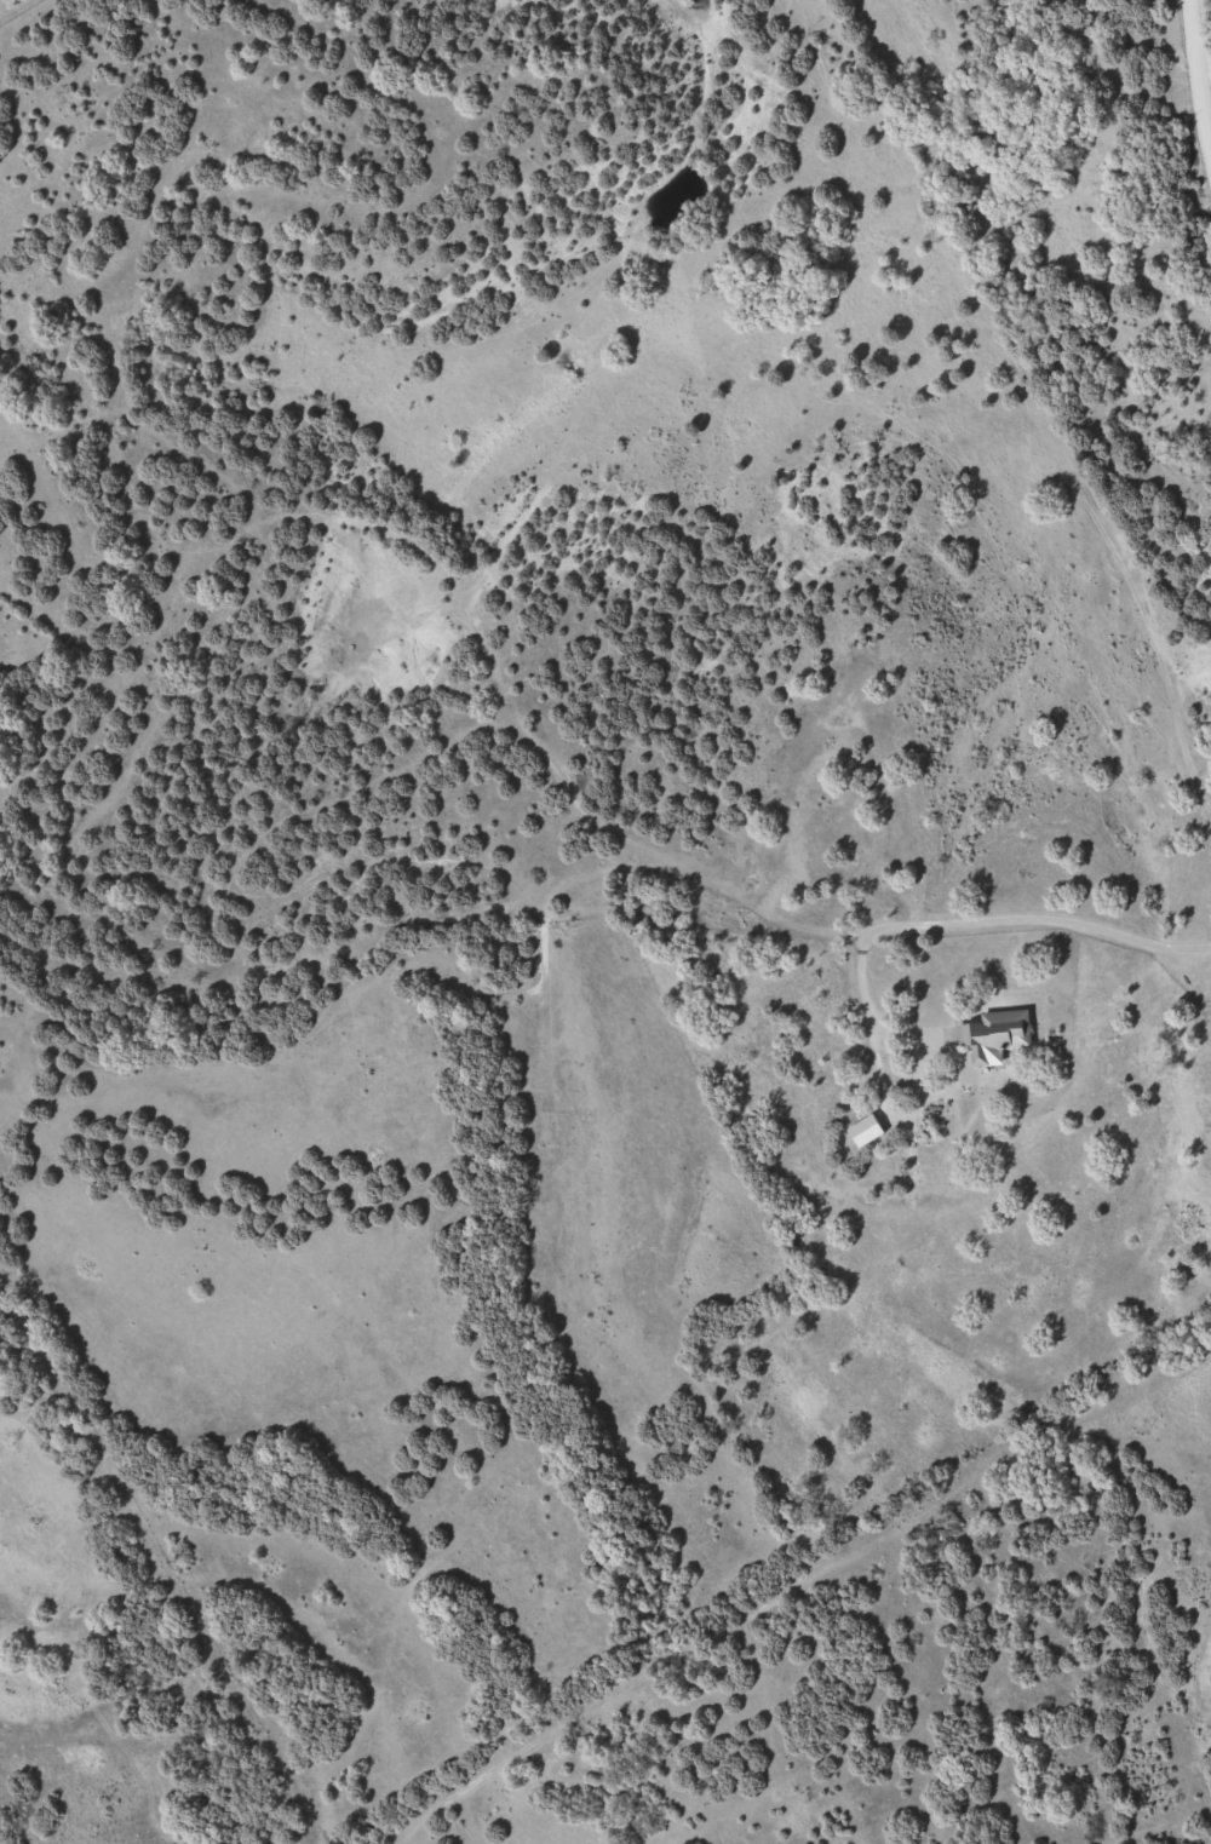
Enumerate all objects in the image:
road: (1210, 77)
road: (987, 919)
building: (997, 1033)
road: (877, 1322)

